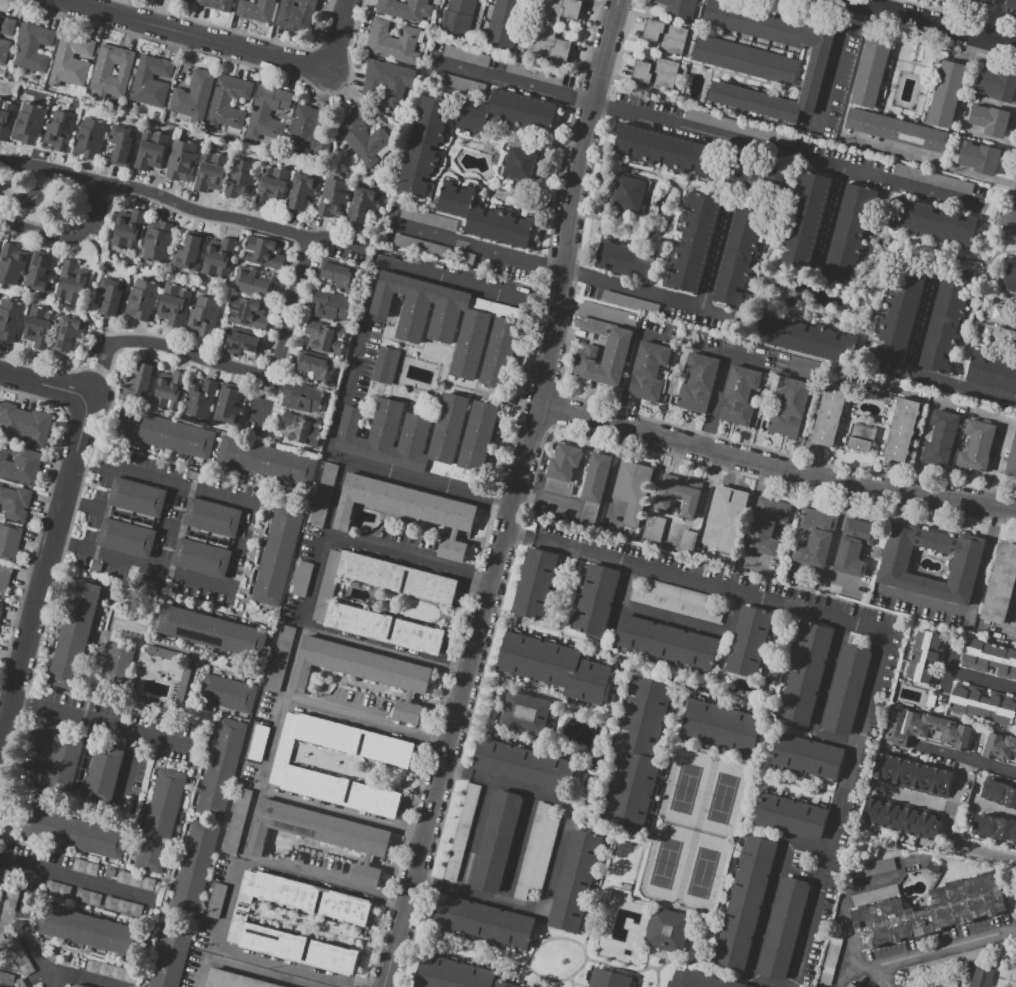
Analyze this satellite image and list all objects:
building: (188, 0)
building: (986, 2)
building: (217, 4)
building: (1010, 4)
building: (679, 7)
building: (256, 9)
building: (405, 9)
building: (558, 10)
building: (508, 12)
building: (295, 14)
building: (457, 17)
road: (925, 24)
building: (7, 26)
building: (495, 26)
road: (195, 35)
road: (338, 35)
building: (665, 36)
building: (394, 41)
building: (548, 43)
building: (33, 47)
building: (4, 51)
building: (468, 56)
road: (219, 57)
building: (71, 60)
building: (744, 60)
building: (816, 64)
road: (832, 64)
building: (111, 71)
building: (656, 73)
building: (870, 73)
building: (151, 81)
building: (389, 81)
building: (459, 83)
building: (997, 85)
building: (946, 94)
building: (192, 98)
building: (228, 103)
building: (509, 112)
building: (267, 113)
building: (5, 117)
building: (989, 120)
building: (28, 123)
building: (737, 127)
building: (896, 128)
building: (60, 130)
building: (307, 130)
road: (709, 132)
building: (364, 137)
building: (89, 139)
building: (122, 145)
building: (424, 145)
building: (150, 149)
building: (660, 151)
building: (979, 157)
building: (181, 160)
building: (520, 163)
building: (210, 172)
building: (752, 177)
building: (241, 179)
building: (933, 179)
building: (271, 185)
building: (302, 194)
building: (628, 194)
building: (332, 197)
building: (645, 197)
road: (573, 202)
building: (363, 204)
road: (182, 207)
building: (485, 218)
building: (428, 219)
building: (931, 222)
building: (803, 224)
building: (128, 230)
building: (850, 232)
road: (67, 238)
building: (156, 241)
building: (692, 243)
road: (481, 246)
building: (433, 249)
building: (189, 252)
building: (262, 252)
building: (218, 257)
building: (626, 258)
building: (739, 260)
building: (11, 264)
building: (39, 272)
building: (337, 273)
building: (262, 275)
road: (373, 276)
building: (1010, 277)
building: (70, 282)
building: (250, 283)
road: (649, 291)
building: (112, 295)
building: (141, 299)
building: (173, 304)
building: (628, 304)
road: (593, 310)
building: (245, 312)
building: (203, 315)
building: (898, 315)
building: (435, 318)
building: (4, 320)
building: (327, 321)
building: (945, 323)
building: (995, 324)
building: (594, 326)
building: (38, 327)
building: (68, 333)
building: (802, 337)
building: (239, 341)
building: (499, 352)
building: (604, 358)
road: (744, 359)
building: (386, 365)
building: (315, 366)
road: (232, 367)
road: (629, 368)
building: (648, 372)
building: (992, 373)
building: (141, 380)
road: (45, 381)
building: (698, 383)
road: (719, 384)
road: (963, 389)
building: (169, 391)
building: (740, 395)
building: (200, 398)
building: (228, 405)
building: (787, 407)
road: (806, 408)
building: (290, 414)
building: (828, 415)
building: (24, 425)
building: (901, 430)
building: (164, 434)
road: (922, 435)
building: (424, 436)
building: (862, 437)
building: (940, 437)
building: (976, 445)
building: (1009, 459)
building: (267, 461)
building: (564, 462)
road: (777, 463)
building: (19, 464)
road: (161, 478)
building: (595, 478)
building: (558, 486)
building: (633, 488)
building: (322, 495)
road: (489, 497)
building: (676, 498)
road: (545, 500)
building: (14, 501)
building: (407, 509)
building: (589, 512)
building: (727, 515)
building: (130, 517)
building: (765, 526)
building: (654, 527)
building: (779, 529)
building: (206, 537)
building: (814, 537)
building: (688, 540)
building: (9, 541)
road: (834, 541)
building: (853, 547)
building: (876, 553)
building: (277, 556)
road: (409, 560)
road: (44, 564)
building: (894, 564)
road: (146, 572)
building: (397, 577)
building: (4, 578)
building: (302, 578)
building: (534, 583)
building: (1000, 584)
building: (326, 585)
road: (619, 596)
building: (595, 599)
building: (677, 601)
road: (972, 604)
building: (1, 608)
road: (1014, 615)
road: (303, 622)
road: (692, 625)
road: (548, 627)
building: (384, 629)
road: (872, 629)
building: (212, 631)
building: (74, 634)
building: (667, 642)
building: (749, 642)
road: (386, 648)
building: (163, 654)
building: (922, 657)
building: (280, 658)
building: (990, 658)
building: (118, 663)
building: (554, 666)
road: (614, 669)
building: (363, 671)
building: (806, 673)
road: (828, 675)
road: (981, 680)
road: (719, 687)
road: (528, 689)
building: (846, 689)
building: (227, 693)
road: (463, 697)
building: (982, 706)
building: (524, 713)
road: (94, 718)
road: (366, 722)
building: (721, 727)
building: (926, 729)
road: (510, 733)
road: (832, 739)
parking lot: (870, 740)
building: (257, 742)
building: (1001, 748)
road: (559, 752)
building: (637, 754)
building: (807, 756)
road: (457, 761)
road: (667, 763)
building: (522, 764)
building: (287, 767)
building: (82, 768)
building: (221, 768)
building: (912, 775)
building: (999, 792)
road: (951, 808)
road: (996, 811)
road: (343, 812)
building: (791, 816)
building: (900, 819)
building: (237, 820)
building: (159, 821)
road: (742, 822)
building: (994, 827)
building: (461, 831)
park: (694, 831)
building: (74, 833)
building: (319, 835)
road: (475, 835)
building: (497, 841)
road: (518, 847)
building: (537, 849)
road: (556, 857)
road: (16, 860)
building: (934, 865)
building: (84, 867)
building: (871, 868)
building: (194, 869)
building: (108, 872)
building: (575, 880)
road: (92, 881)
building: (135, 881)
road: (323, 882)
building: (625, 886)
building: (57, 889)
building: (87, 897)
road: (637, 898)
building: (216, 900)
building: (745, 902)
road: (768, 905)
building: (123, 906)
building: (928, 911)
building: (483, 921)
building: (244, 924)
building: (537, 926)
road: (543, 926)
road: (588, 927)
road: (25, 928)
building: (782, 928)
building: (666, 929)
building: (85, 931)
road: (469, 949)
building: (19, 956)
building: (170, 956)
road: (646, 956)
building: (52, 957)
building: (831, 958)
road: (259, 965)
road: (527, 965)
road: (867, 971)
building: (112, 972)
building: (453, 974)
road: (846, 974)
building: (981, 974)
road: (87, 976)
building: (608, 979)
building: (6, 980)
building: (233, 980)
building: (698, 980)
road: (885, 980)
road: (570, 982)
building: (20, 983)
building: (851, 985)
building: (908, 985)
building: (78, 986)
building: (751, 986)
building: (858, 986)

